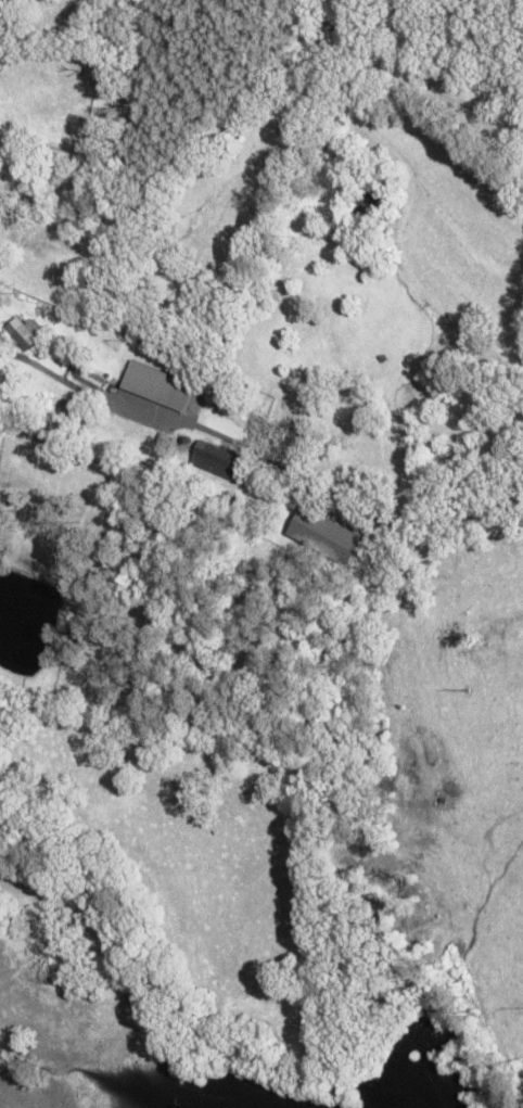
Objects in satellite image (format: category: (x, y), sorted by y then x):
building: (26, 335)
building: (92, 380)
building: (160, 387)
building: (72, 411)
road: (125, 423)
building: (218, 462)

